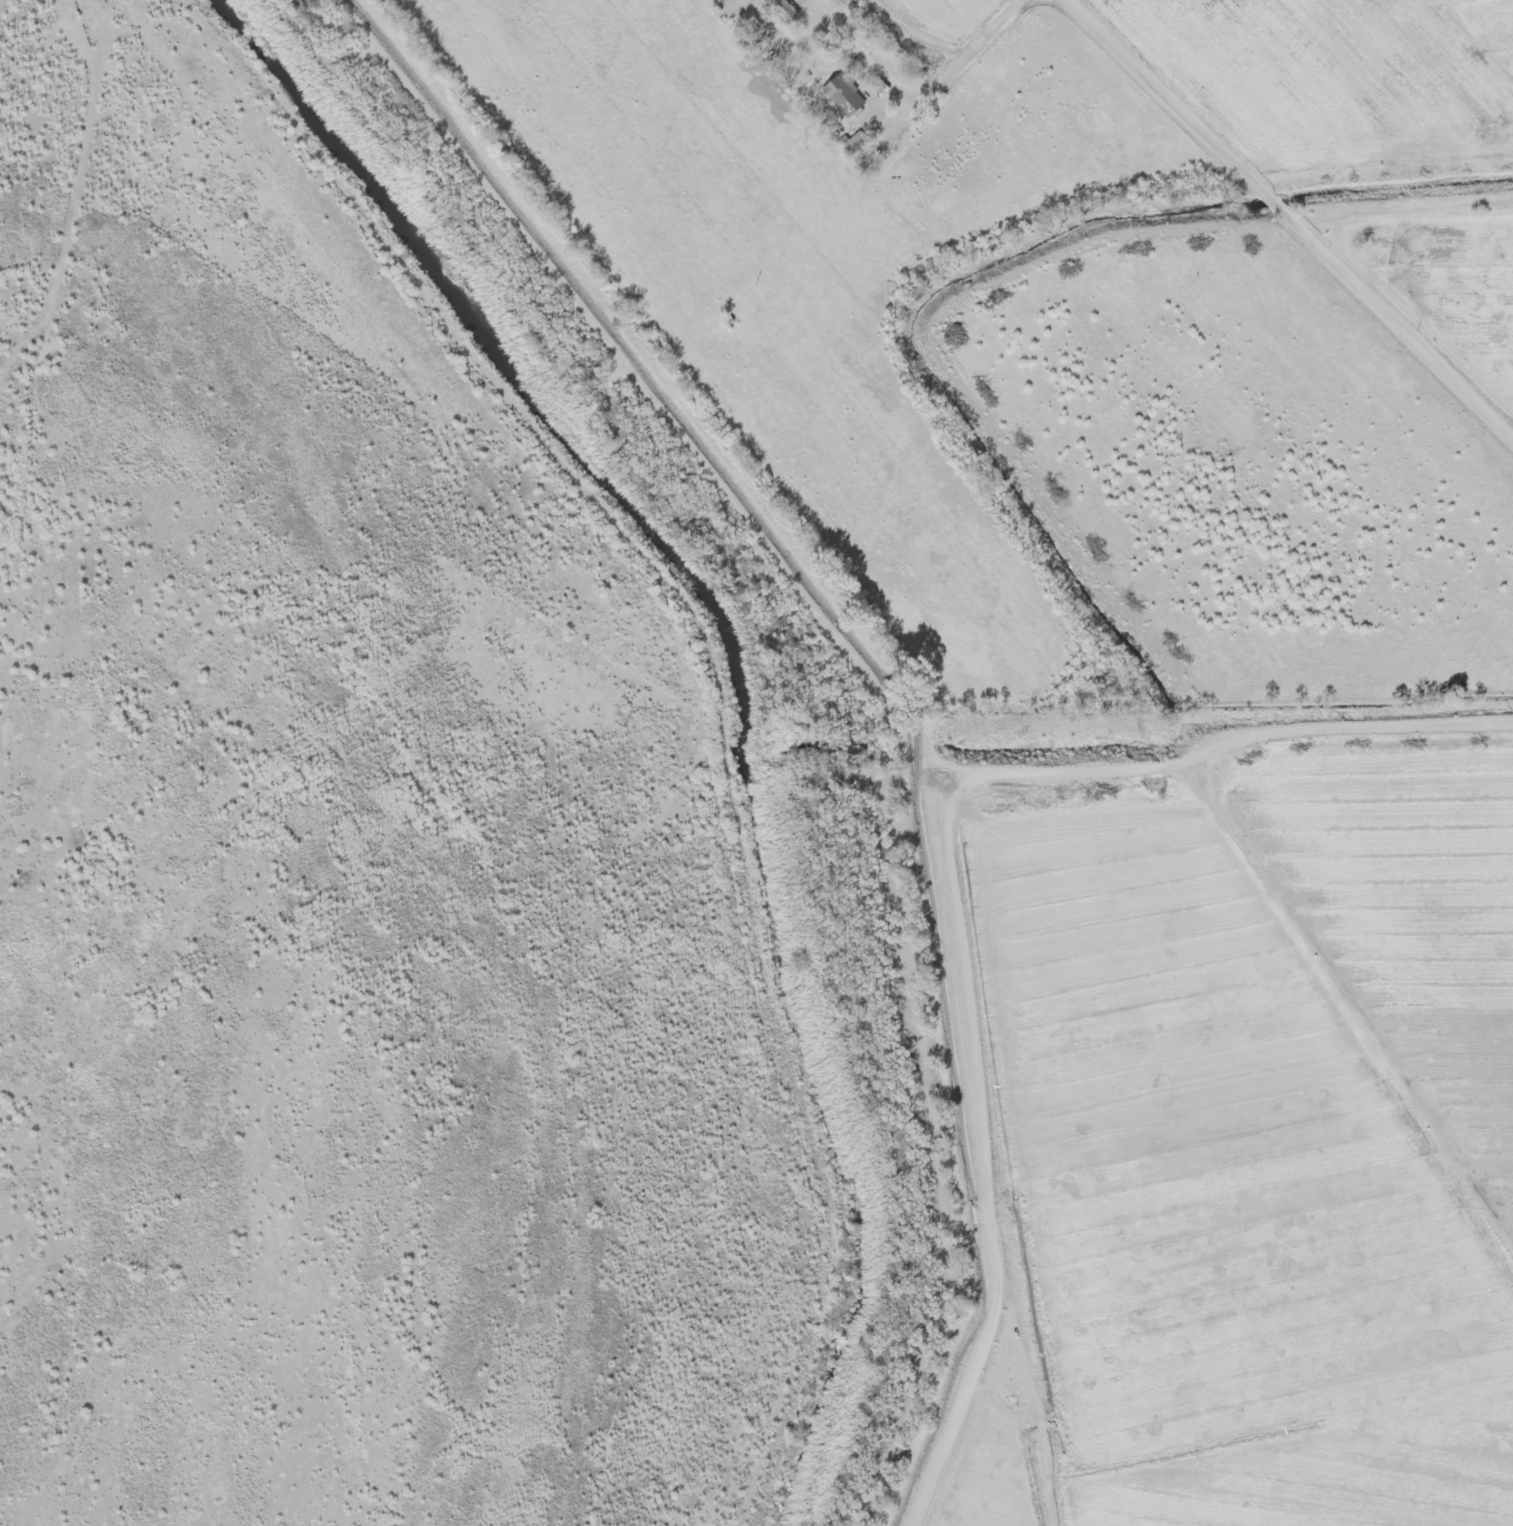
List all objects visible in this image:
road: (7, 5)
building: (776, 10)
road: (964, 51)
building: (839, 98)
road: (1292, 216)
road: (719, 682)
road: (946, 880)

